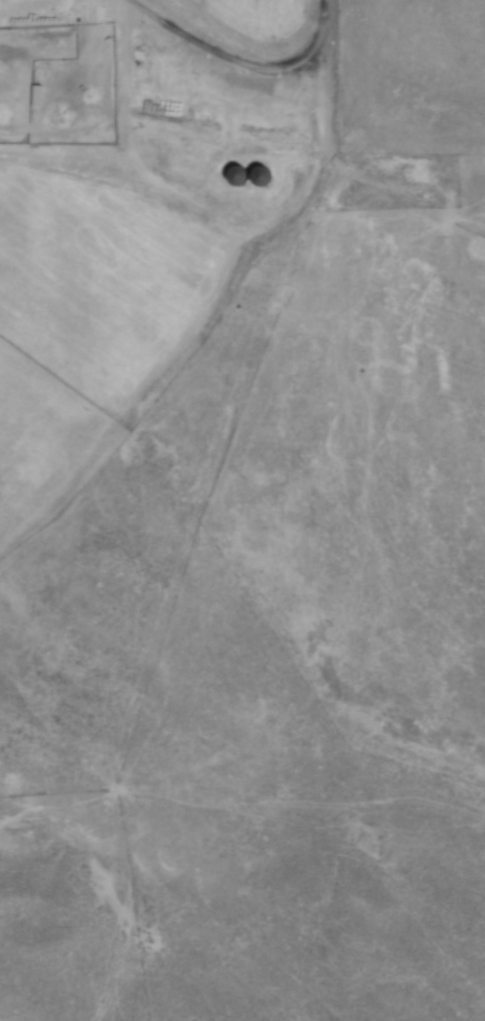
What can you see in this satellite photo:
road: (243, 66)
building: (235, 173)

